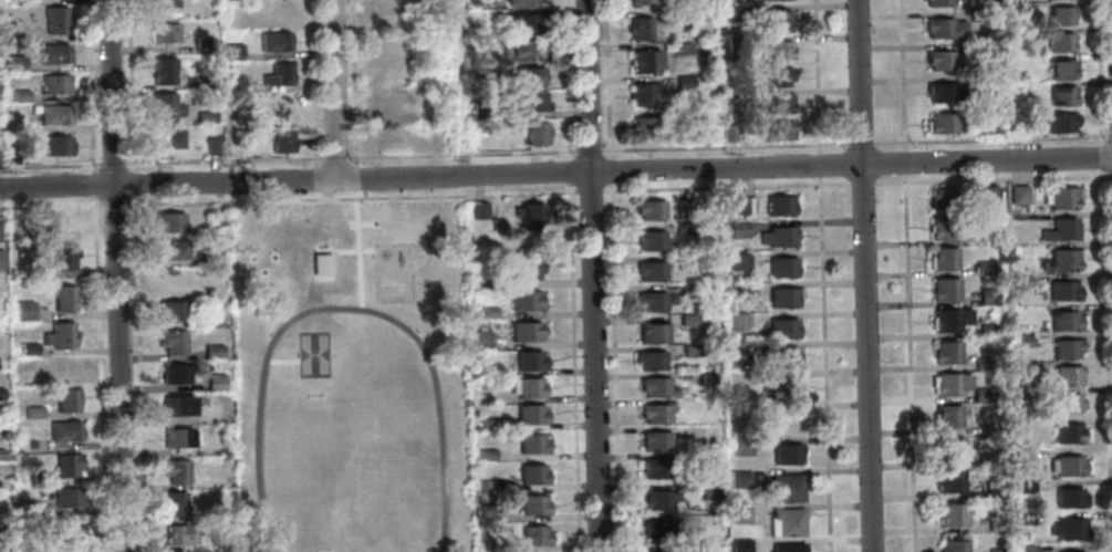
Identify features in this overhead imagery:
building: (23, 2)
building: (392, 2)
building: (521, 2)
building: (642, 2)
building: (937, 2)
building: (163, 3)
building: (469, 3)
building: (731, 13)
building: (976, 15)
building: (1059, 17)
building: (677, 18)
building: (54, 19)
building: (474, 19)
building: (778, 20)
building: (31, 22)
building: (519, 23)
building: (640, 28)
building: (943, 29)
building: (163, 32)
building: (1016, 37)
building: (273, 41)
building: (1058, 43)
building: (202, 44)
building: (732, 44)
building: (684, 48)
building: (778, 49)
building: (522, 50)
building: (232, 51)
building: (52, 53)
building: (644, 61)
building: (938, 61)
building: (14, 62)
building: (162, 70)
building: (1060, 70)
road: (1101, 71)
building: (277, 74)
road: (902, 74)
building: (523, 75)
road: (817, 75)
building: (779, 76)
road: (604, 79)
road: (312, 80)
road: (564, 80)
building: (198, 82)
building: (233, 82)
building: (685, 82)
building: (55, 83)
road: (352, 83)
road: (128, 85)
road: (89, 86)
road: (459, 87)
road: (333, 90)
building: (943, 93)
building: (644, 94)
building: (20, 95)
building: (1060, 95)
building: (730, 96)
building: (529, 101)
building: (391, 102)
building: (778, 102)
building: (283, 104)
building: (164, 106)
building: (54, 114)
building: (205, 116)
building: (1053, 122)
building: (943, 123)
building: (643, 126)
building: (781, 129)
building: (697, 132)
building: (533, 133)
building: (732, 133)
road: (1110, 135)
building: (166, 138)
road: (991, 138)
building: (280, 140)
road: (861, 142)
building: (55, 145)
building: (210, 145)
road: (723, 146)
road: (586, 152)
road: (459, 155)
road: (334, 158)
road: (1102, 159)
road: (224, 160)
road: (112, 164)
road: (50, 166)
road: (904, 166)
road: (819, 167)
road: (606, 170)
road: (567, 171)
road: (555, 174)
road: (1106, 176)
road: (360, 177)
road: (850, 183)
road: (132, 184)
road: (92, 185)
road: (588, 191)
road: (364, 192)
building: (987, 194)
building: (1017, 194)
road: (350, 197)
building: (1061, 197)
building: (943, 198)
road: (113, 204)
road: (50, 205)
building: (779, 205)
building: (739, 206)
building: (685, 207)
building: (647, 208)
building: (477, 210)
building: (528, 216)
building: (217, 217)
building: (17, 221)
building: (55, 221)
building: (169, 221)
building: (945, 226)
building: (683, 228)
building: (737, 229)
building: (1060, 230)
building: (776, 236)
building: (648, 240)
building: (170, 249)
building: (1012, 249)
building: (56, 256)
building: (211, 257)
building: (943, 258)
building: (1061, 259)
building: (737, 261)
building: (0, 262)
building: (780, 267)
building: (983, 267)
building: (522, 270)
building: (648, 270)
road: (115, 275)
road: (591, 275)
road: (864, 275)
building: (172, 279)
building: (1020, 281)
building: (944, 288)
building: (214, 289)
building: (685, 290)
building: (734, 290)
building: (1062, 290)
building: (986, 295)
building: (782, 296)
building: (62, 298)
building: (524, 300)
building: (653, 301)
building: (23, 310)
building: (172, 310)
building: (487, 312)
building: (209, 319)
building: (949, 319)
building: (686, 320)
building: (1066, 321)
building: (735, 322)
building: (781, 327)
building: (523, 331)
building: (987, 331)
building: (651, 333)
building: (59, 335)
building: (479, 340)
building: (170, 341)
building: (1023, 341)
building: (1067, 347)
building: (28, 348)
building: (688, 350)
building: (211, 351)
building: (945, 352)
building: (780, 356)
building: (648, 360)
building: (528, 361)
building: (981, 363)
road: (1106, 364)
building: (60, 367)
road: (572, 367)
road: (612, 367)
road: (823, 367)
road: (908, 367)
building: (1023, 368)
building: (477, 371)
road: (97, 374)
road: (138, 374)
building: (174, 374)
building: (1067, 375)
building: (29, 378)
park: (350, 378)
building: (705, 378)
building: (738, 379)
building: (214, 382)
building: (950, 384)
building: (527, 386)
building: (654, 386)
building: (783, 387)
building: (0, 393)
building: (981, 394)
building: (1020, 396)
building: (65, 399)
building: (1066, 402)
building: (175, 405)
building: (32, 412)
building: (653, 413)
building: (529, 414)
building: (947, 416)
building: (487, 423)
building: (63, 430)
building: (1067, 433)
building: (175, 437)
building: (654, 441)
building: (30, 442)
building: (530, 442)
building: (740, 446)
building: (948, 448)
building: (222, 454)
building: (485, 454)
building: (784, 454)
building: (0, 455)
building: (705, 457)
building: (986, 459)
building: (65, 465)
building: (1068, 465)
building: (655, 467)
building: (175, 470)
building: (532, 473)
building: (39, 478)
building: (737, 478)
building: (949, 480)
building: (784, 486)
building: (1025, 486)
building: (994, 488)
building: (706, 489)
building: (66, 497)
building: (1069, 497)
building: (657, 498)
building: (173, 502)
building: (531, 504)
building: (28, 510)
building: (486, 511)
building: (950, 513)
building: (739, 514)
building: (1027, 518)
building: (1, 521)
building: (705, 521)
building: (784, 522)
building: (995, 522)
building: (1068, 528)
building: (656, 530)
building: (67, 533)
building: (178, 534)
building: (532, 534)
building: (490, 541)
building: (30, 545)
building: (739, 545)
building: (953, 545)
building: (2, 548)
building: (787, 548)
building: (705, 549)
building: (1026, 549)
building: (996, 550)

